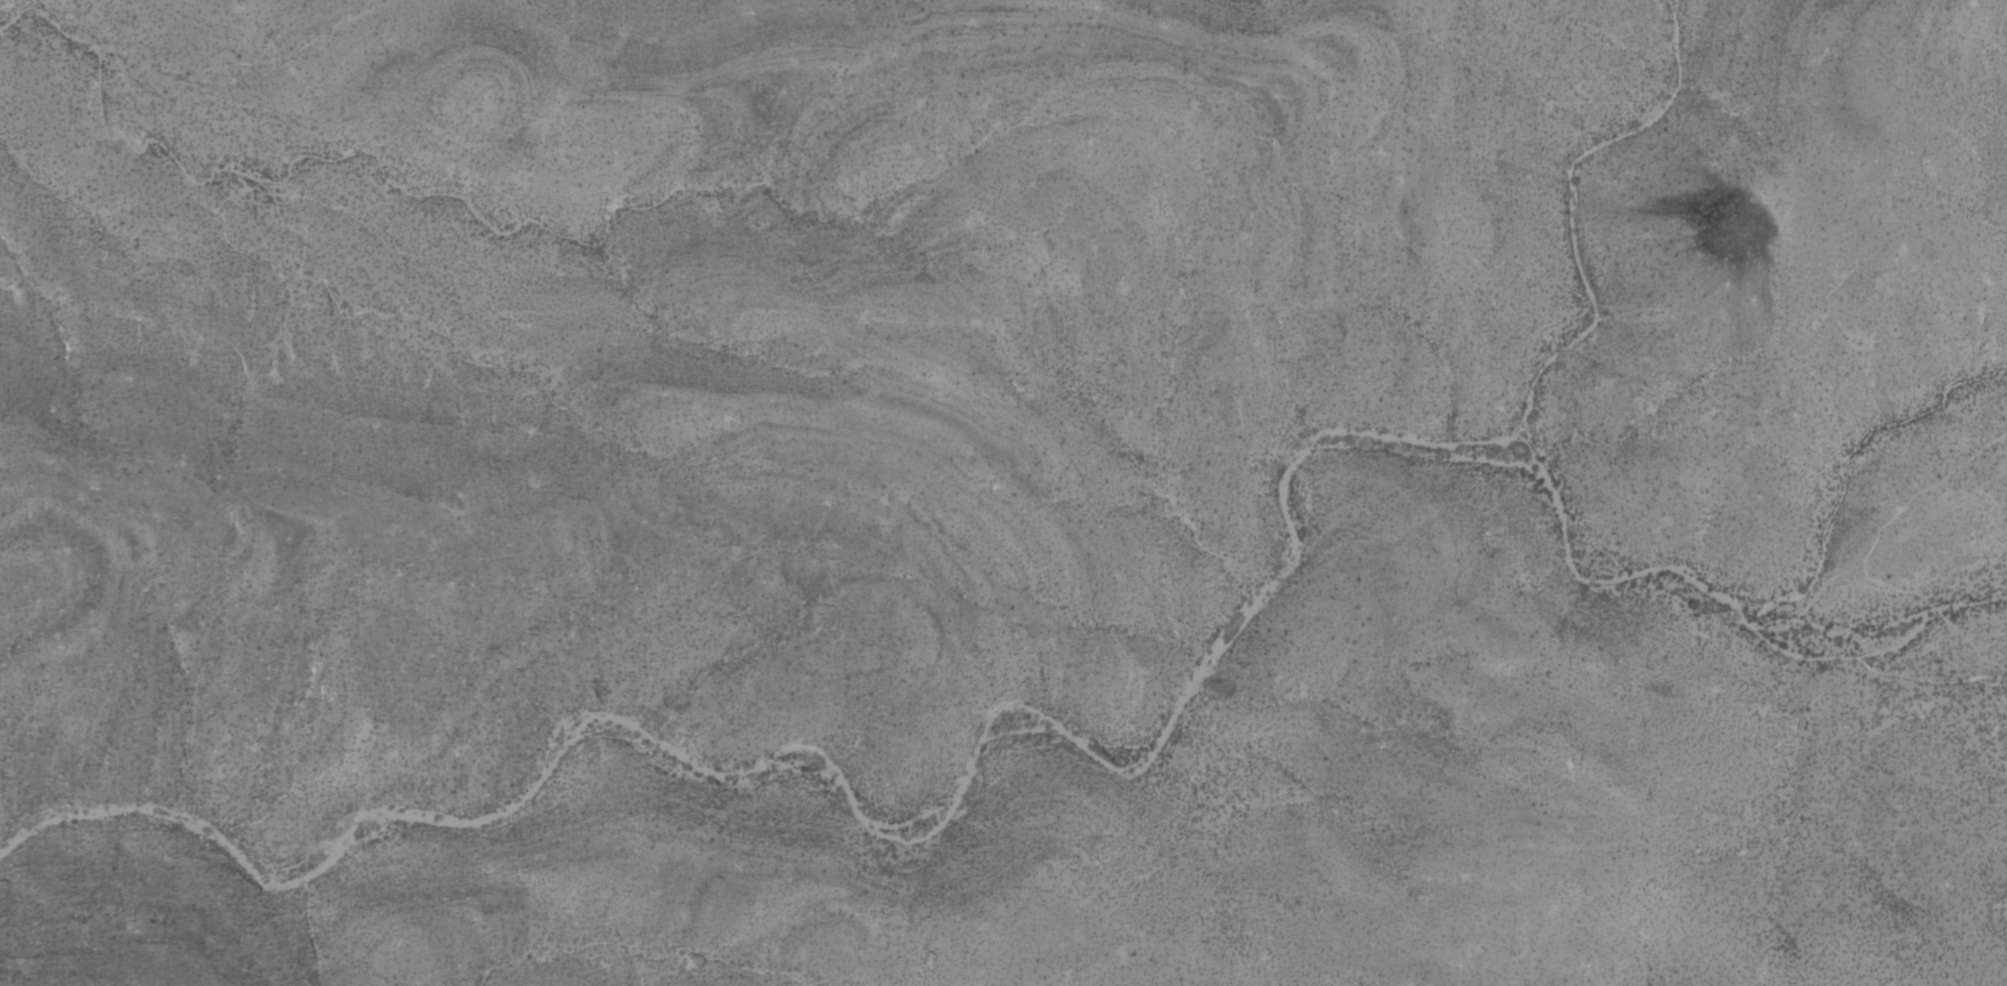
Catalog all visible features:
road: (1872, 560)

